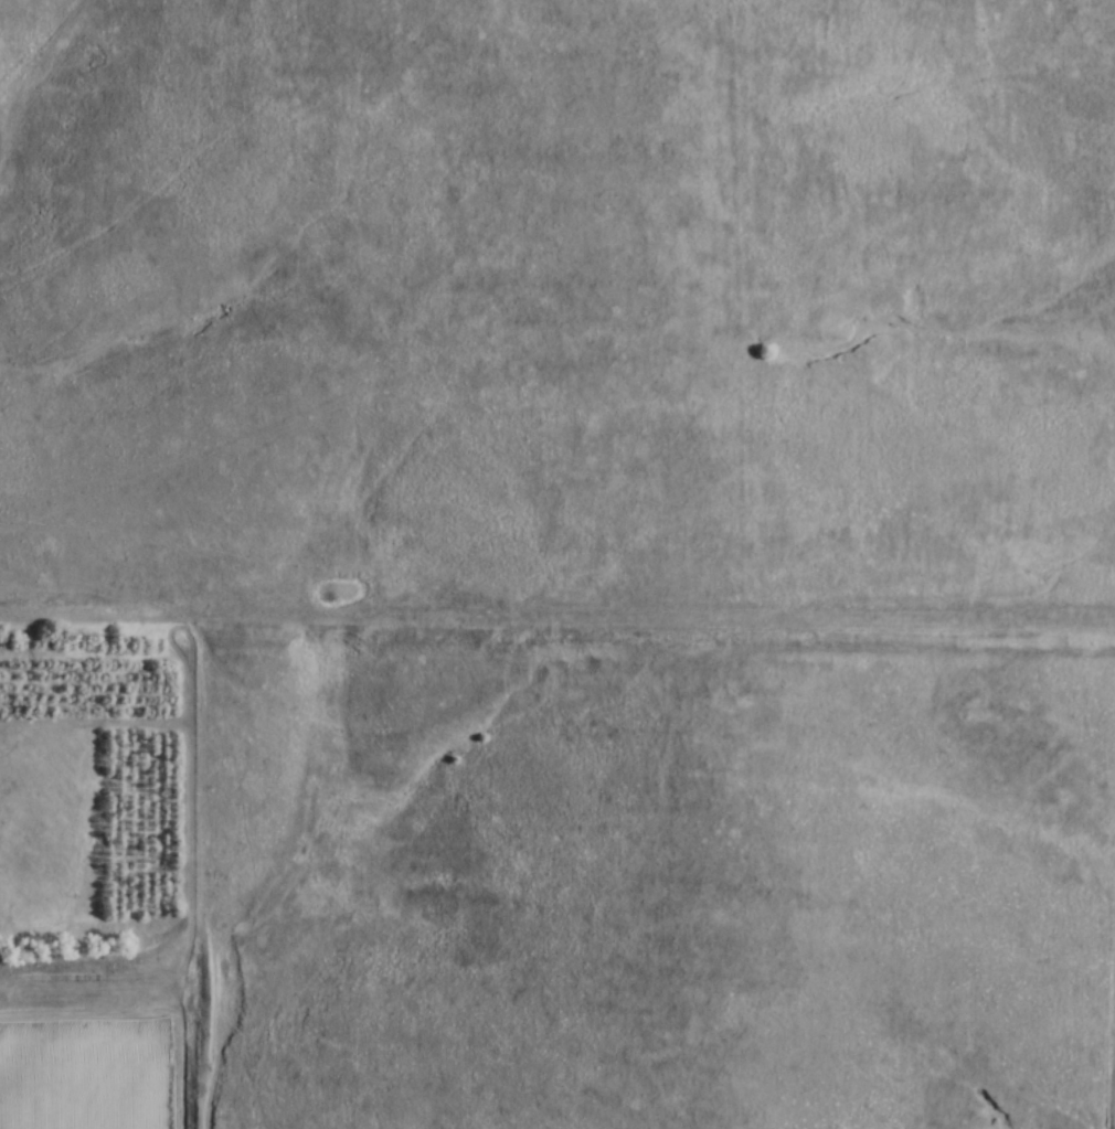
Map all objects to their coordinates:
crop: (87, 1076)

